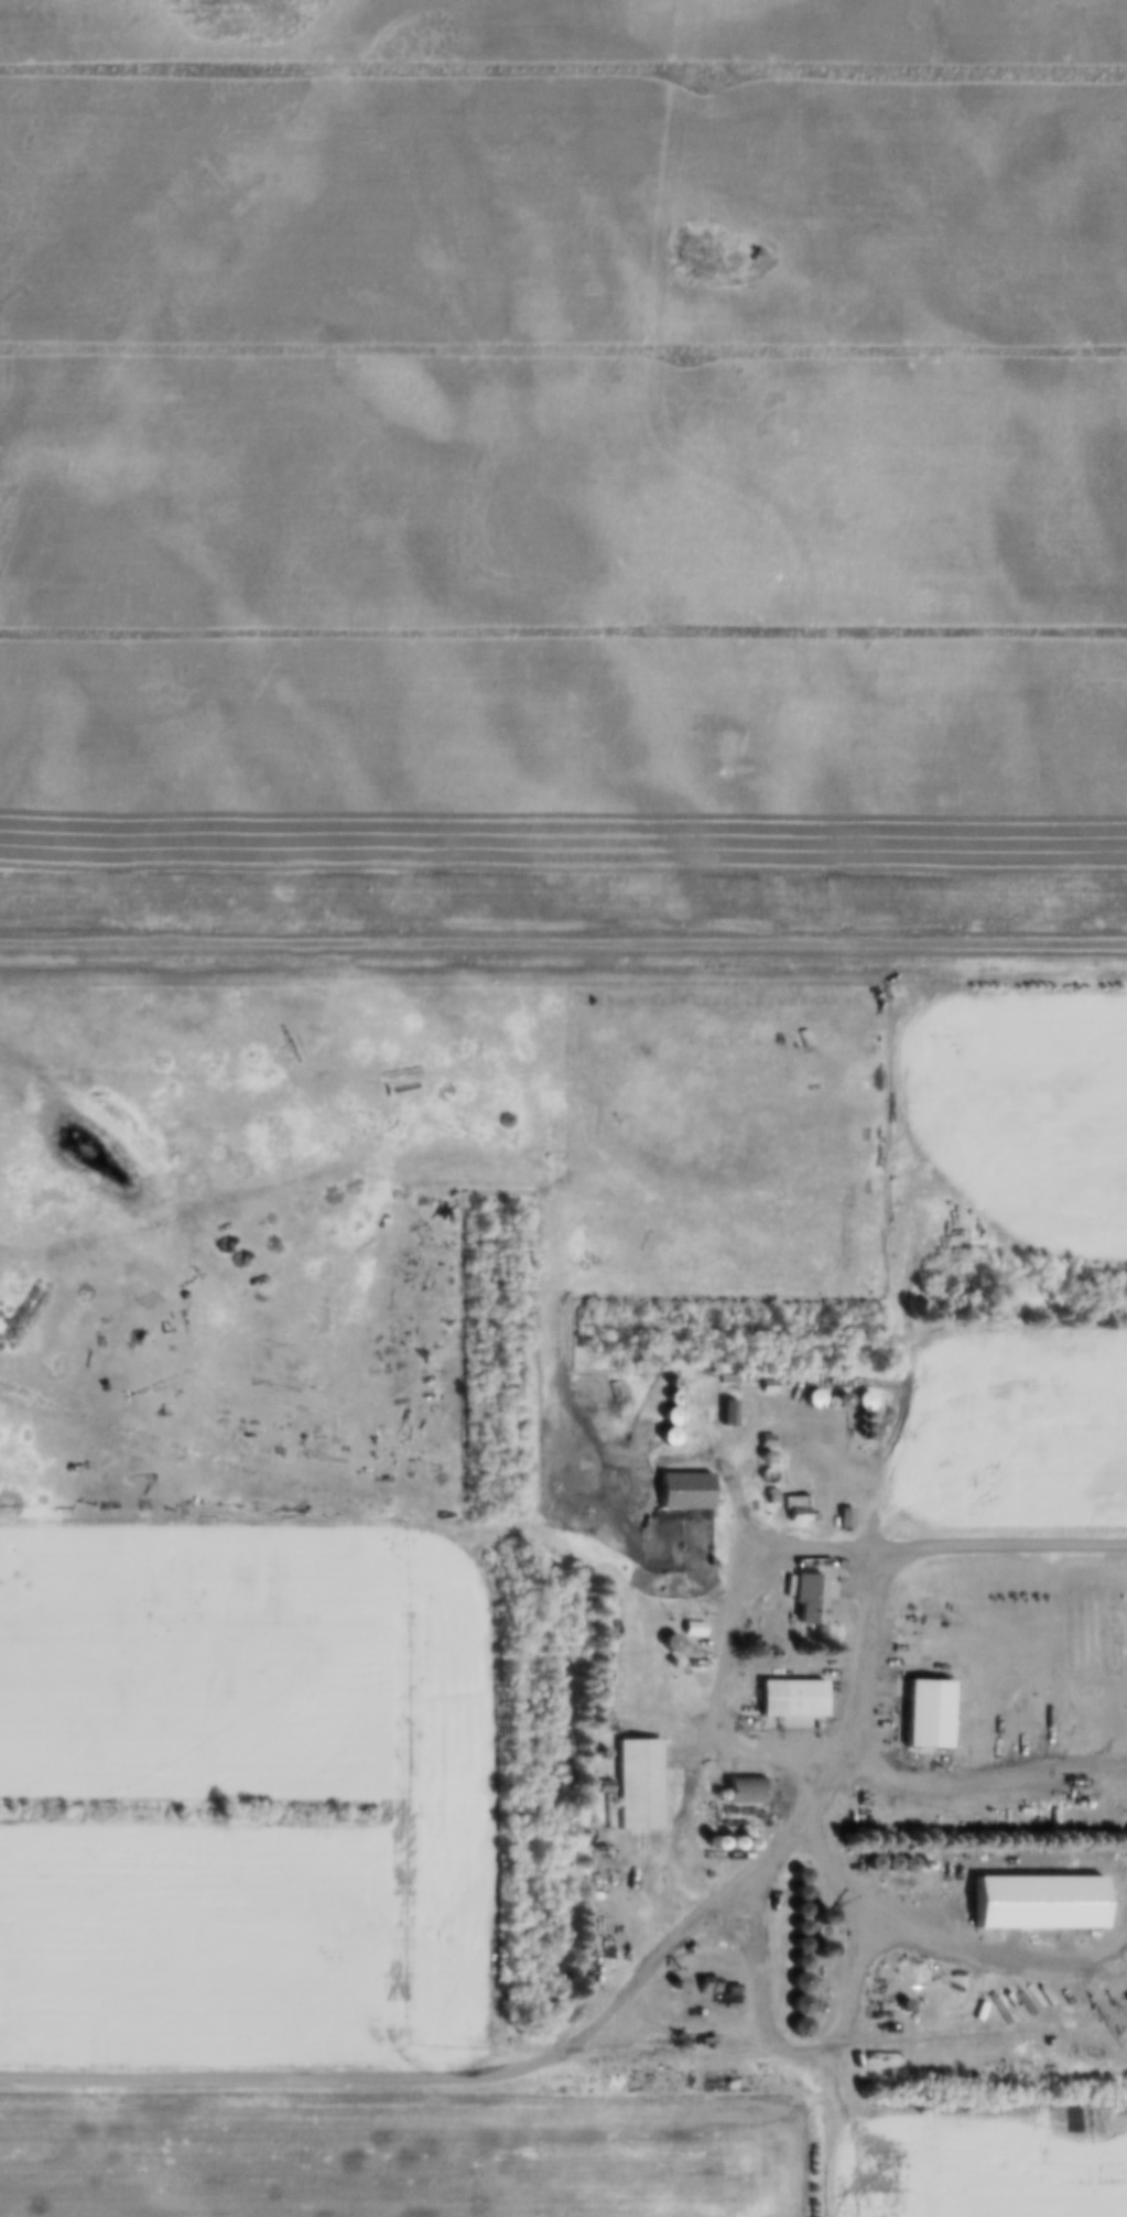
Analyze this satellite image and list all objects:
building: (725, 1414)
building: (667, 1427)
building: (682, 1492)
building: (793, 1510)
building: (805, 1600)
road: (736, 1643)
road: (867, 1665)
building: (925, 1718)
building: (636, 1786)
building: (741, 1792)
building: (1036, 1903)
building: (798, 1911)
building: (820, 1917)
building: (798, 1935)
building: (819, 1954)
building: (797, 1962)
building: (798, 2005)
road: (366, 2083)

